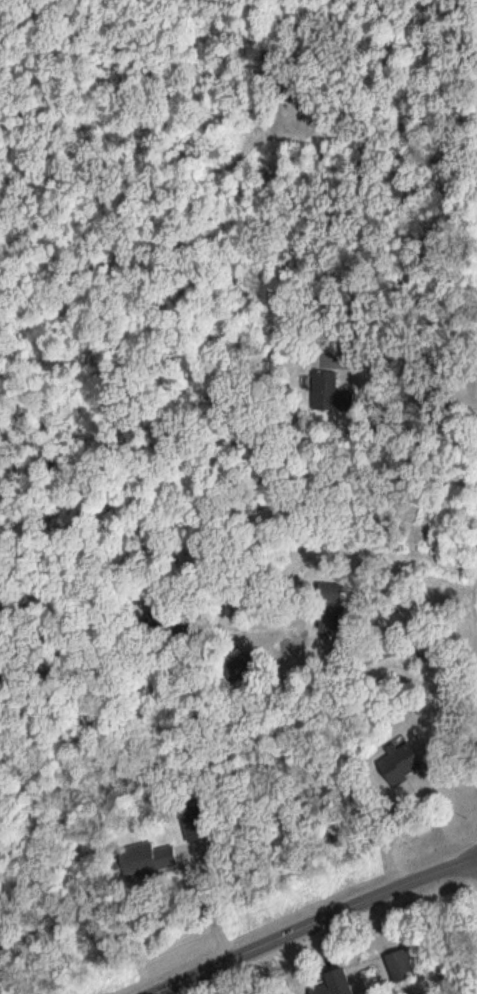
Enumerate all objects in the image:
road: (370, 41)
building: (327, 391)
building: (403, 764)
building: (151, 858)
road: (323, 923)
building: (404, 965)
building: (339, 982)

